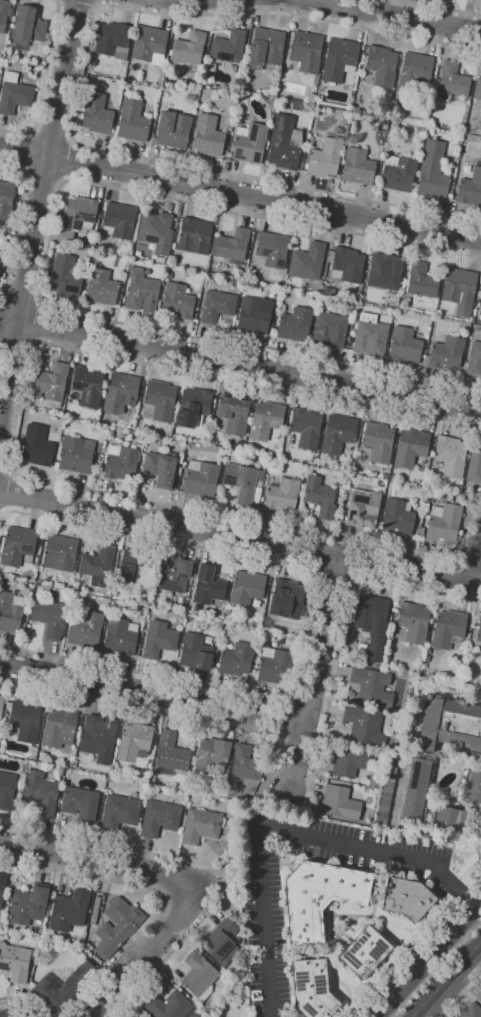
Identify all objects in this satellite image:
road: (100, 2)
road: (78, 4)
road: (441, 7)
road: (397, 15)
building: (3, 20)
building: (27, 28)
building: (111, 41)
building: (149, 45)
building: (227, 46)
building: (188, 48)
building: (267, 50)
building: (306, 53)
building: (339, 59)
building: (381, 65)
building: (415, 69)
building: (282, 70)
building: (434, 74)
building: (451, 82)
road: (44, 83)
road: (78, 86)
building: (477, 89)
building: (14, 93)
building: (353, 93)
building: (190, 96)
building: (311, 98)
building: (96, 114)
building: (397, 117)
building: (132, 121)
building: (342, 121)
building: (173, 129)
building: (419, 129)
building: (310, 130)
building: (337, 130)
building: (429, 131)
building: (206, 135)
road: (51, 137)
building: (311, 141)
building: (284, 142)
building: (248, 143)
road: (27, 154)
building: (325, 157)
road: (68, 160)
building: (357, 167)
building: (432, 172)
building: (397, 174)
road: (43, 176)
building: (470, 188)
building: (450, 191)
road: (240, 192)
building: (5, 199)
road: (37, 210)
building: (79, 213)
building: (119, 221)
road: (17, 222)
building: (156, 231)
building: (194, 235)
building: (231, 246)
building: (0, 249)
building: (272, 249)
building: (0, 253)
road: (48, 253)
building: (159, 260)
building: (307, 262)
building: (347, 265)
building: (384, 272)
building: (168, 275)
building: (65, 276)
building: (421, 281)
building: (101, 288)
building: (328, 290)
building: (459, 290)
building: (141, 291)
road: (21, 299)
building: (177, 300)
building: (480, 302)
building: (474, 303)
building: (217, 306)
building: (480, 312)
building: (254, 315)
road: (37, 323)
building: (295, 324)
building: (330, 329)
building: (369, 336)
road: (16, 340)
building: (404, 345)
building: (446, 353)
building: (474, 359)
road: (240, 363)
building: (51, 384)
building: (88, 386)
building: (120, 392)
building: (159, 401)
building: (192, 406)
building: (233, 415)
building: (265, 420)
building: (305, 428)
building: (338, 433)
road: (12, 436)
building: (280, 438)
building: (377, 442)
building: (36, 445)
building: (410, 448)
building: (76, 454)
building: (450, 456)
building: (120, 462)
building: (474, 463)
building: (160, 467)
road: (6, 472)
building: (384, 476)
building: (392, 478)
building: (201, 479)
building: (240, 482)
building: (281, 495)
building: (319, 496)
building: (260, 498)
building: (363, 508)
road: (2, 510)
building: (397, 517)
building: (444, 524)
building: (421, 532)
road: (240, 536)
building: (18, 545)
building: (61, 552)
road: (475, 564)
building: (99, 565)
building: (133, 567)
building: (172, 573)
road: (334, 578)
building: (189, 581)
building: (207, 586)
building: (246, 587)
building: (287, 599)
building: (11, 611)
building: (50, 616)
building: (172, 619)
road: (307, 619)
building: (413, 623)
road: (344, 624)
building: (372, 624)
building: (447, 628)
building: (86, 629)
building: (478, 633)
building: (122, 635)
building: (159, 638)
building: (196, 652)
building: (236, 659)
building: (275, 666)
road: (314, 671)
building: (372, 688)
road: (152, 690)
road: (310, 698)
building: (2, 708)
road: (160, 712)
road: (285, 716)
building: (24, 721)
building: (449, 725)
building: (364, 726)
building: (60, 727)
building: (99, 737)
building: (136, 743)
building: (171, 754)
building: (43, 755)
building: (212, 755)
building: (348, 761)
building: (247, 763)
building: (61, 771)
building: (374, 781)
building: (474, 788)
building: (7, 790)
building: (415, 791)
building: (40, 793)
building: (385, 793)
building: (340, 802)
building: (81, 804)
building: (120, 812)
building: (160, 817)
building: (455, 820)
building: (201, 825)
road: (286, 830)
road: (202, 863)
road: (102, 866)
building: (2, 886)
road: (159, 893)
building: (321, 896)
building: (407, 898)
building: (29, 904)
building: (70, 910)
building: (96, 910)
building: (118, 926)
building: (223, 941)
road: (416, 946)
road: (147, 952)
building: (366, 952)
road: (467, 956)
building: (15, 961)
road: (428, 961)
building: (200, 975)
road: (467, 983)
building: (62, 987)
building: (312, 988)
road: (465, 991)
road: (433, 993)
building: (480, 994)
road: (18, 1002)
building: (173, 1006)
building: (471, 1010)

